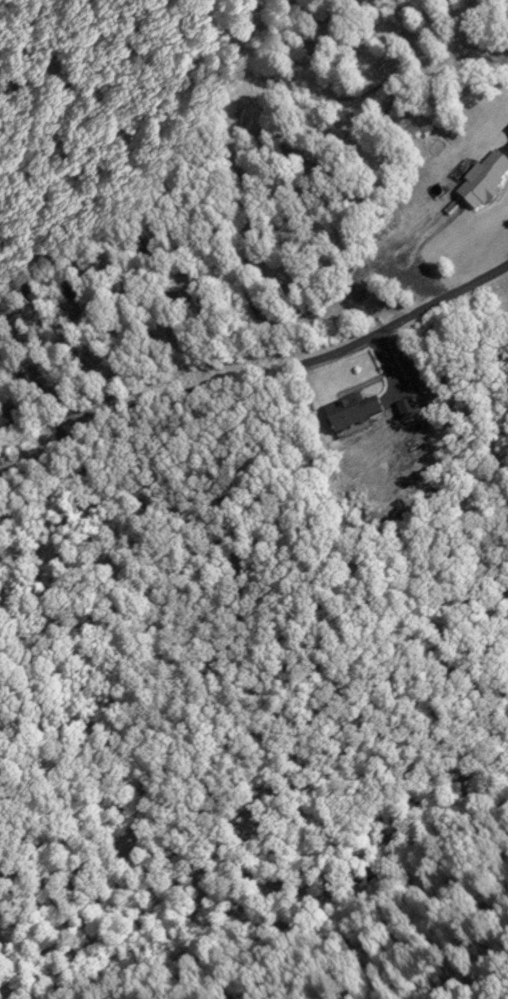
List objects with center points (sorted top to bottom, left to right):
building: (481, 179)
building: (347, 293)
road: (253, 374)
building: (347, 412)

